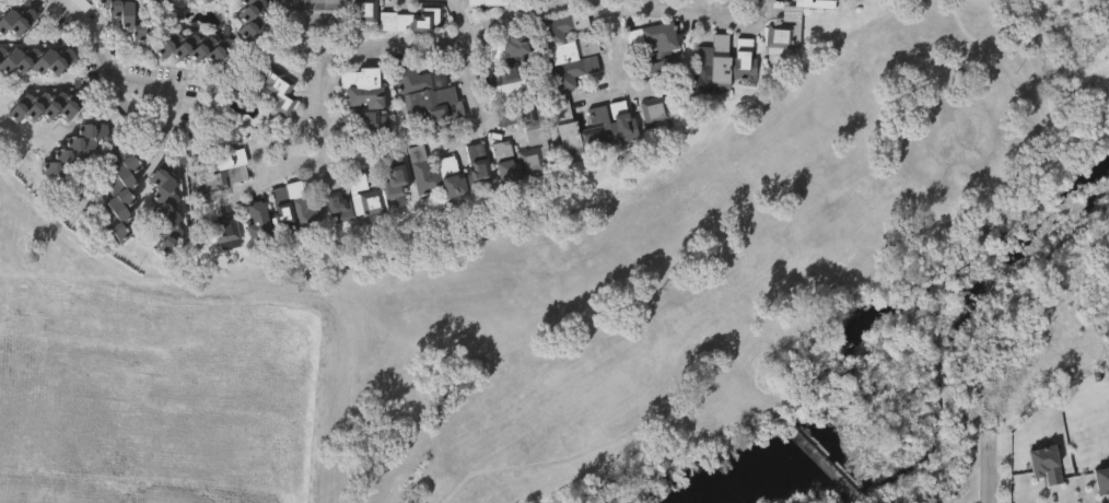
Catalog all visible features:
building: (206, 0)
building: (221, 0)
building: (172, 1)
building: (188, 1)
building: (154, 2)
building: (488, 3)
building: (81, 4)
building: (362, 8)
road: (658, 14)
building: (17, 17)
building: (124, 17)
building: (249, 17)
road: (462, 19)
building: (410, 21)
building: (793, 24)
building: (563, 27)
road: (470, 36)
building: (506, 47)
road: (616, 47)
building: (195, 48)
building: (39, 61)
building: (573, 61)
road: (108, 62)
building: (727, 62)
building: (509, 73)
building: (657, 74)
road: (324, 75)
building: (362, 95)
building: (269, 96)
building: (429, 100)
building: (48, 109)
building: (623, 119)
building: (567, 127)
building: (597, 128)
building: (534, 142)
building: (73, 153)
building: (505, 163)
building: (225, 168)
building: (448, 174)
building: (395, 177)
building: (122, 194)
building: (164, 198)
building: (351, 198)
building: (293, 208)
building: (258, 223)
building: (225, 234)
building: (1044, 461)
road: (991, 477)
building: (1101, 478)

